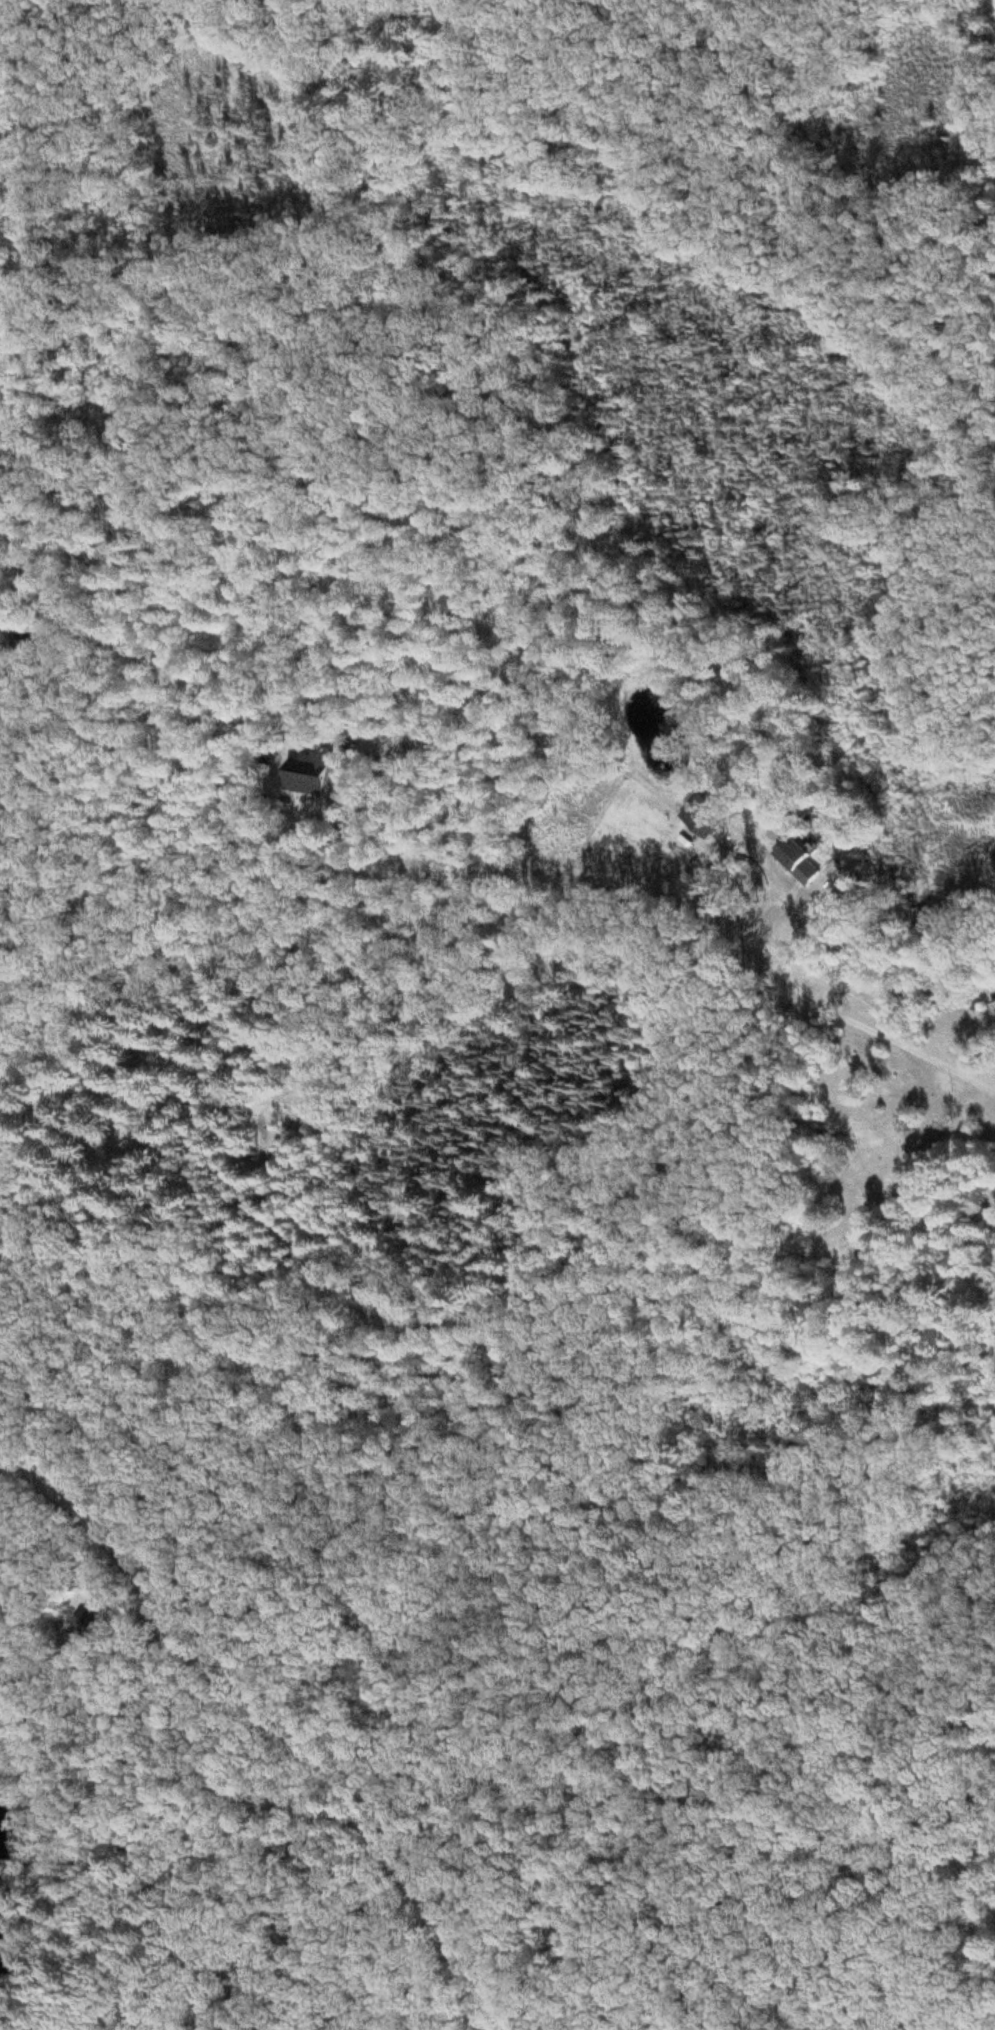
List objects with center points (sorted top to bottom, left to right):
building: (317, 779)
building: (702, 839)
building: (811, 854)
road: (904, 1022)
road: (273, 1729)
road: (223, 1880)
road: (795, 1923)

